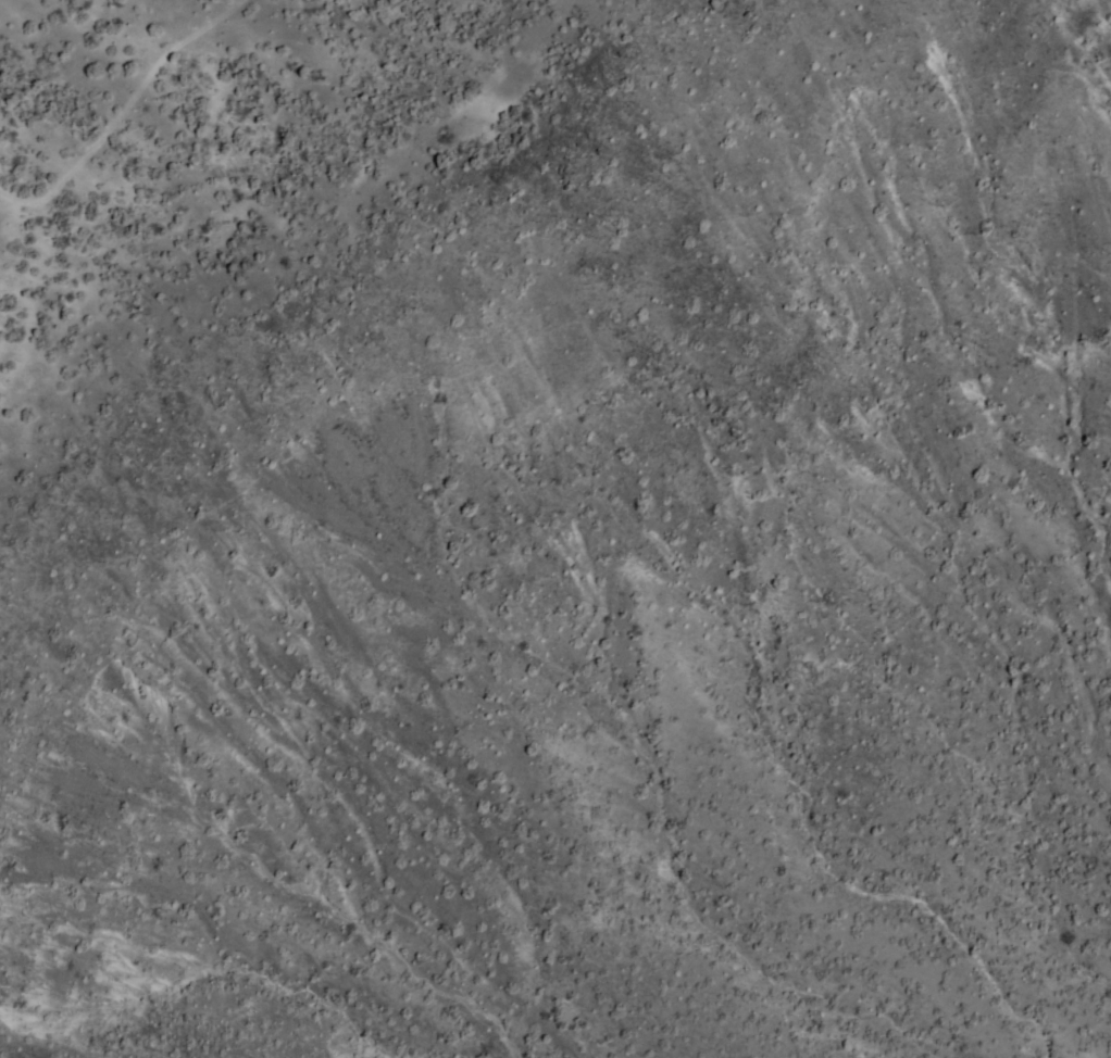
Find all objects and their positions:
road: (124, 104)

